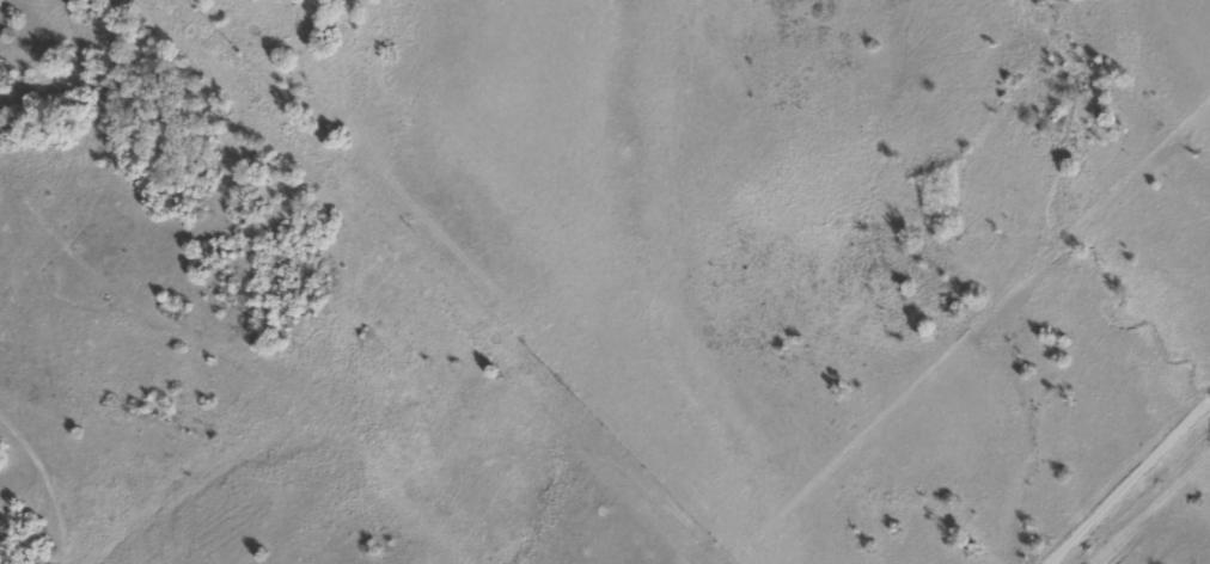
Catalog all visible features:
road: (1141, 499)

